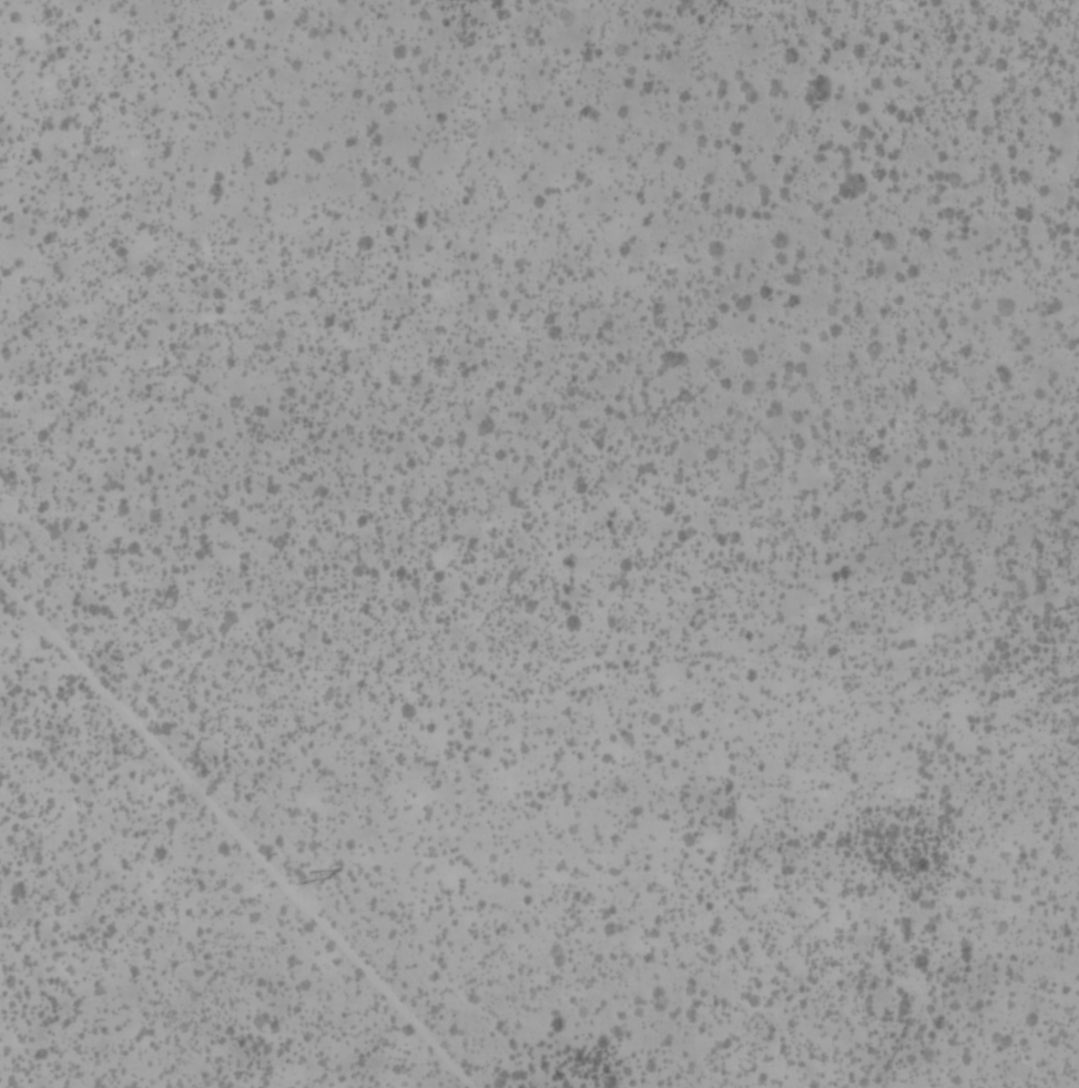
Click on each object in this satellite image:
road: (232, 838)
power tower: (297, 875)

